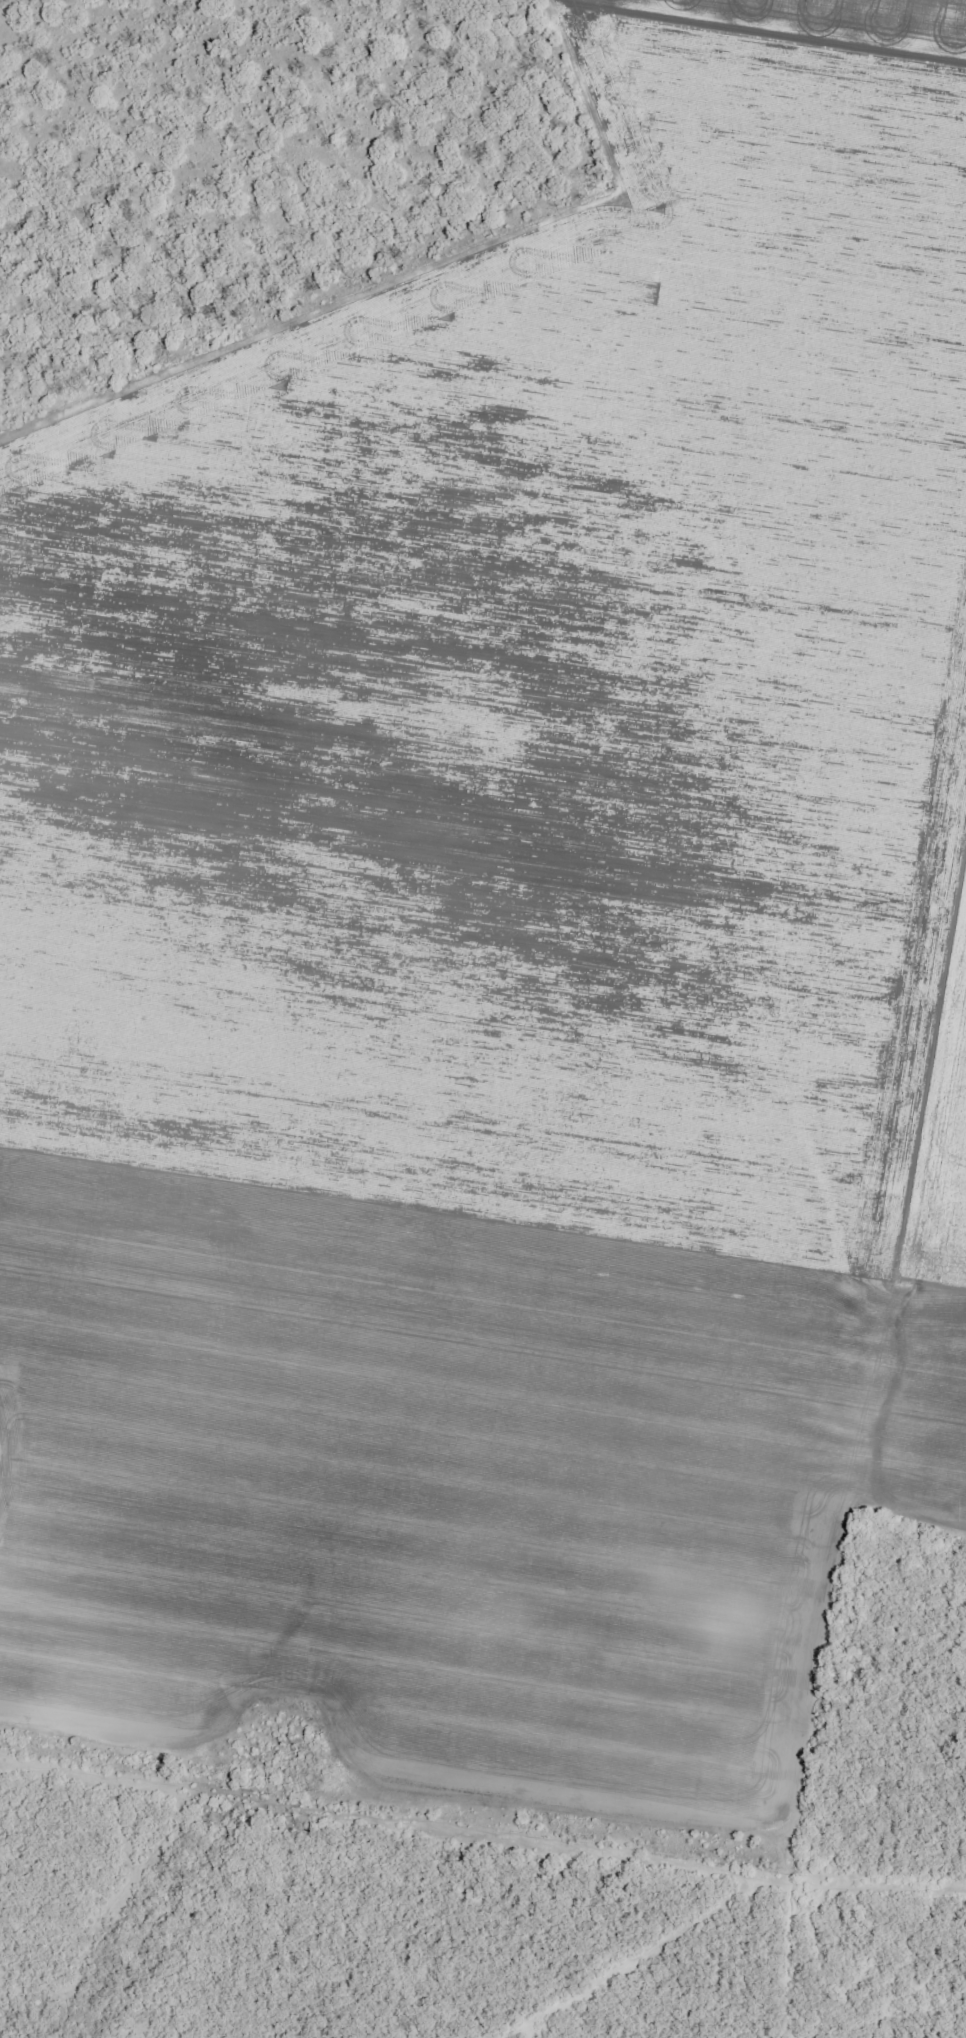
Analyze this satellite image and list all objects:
road: (759, 32)

